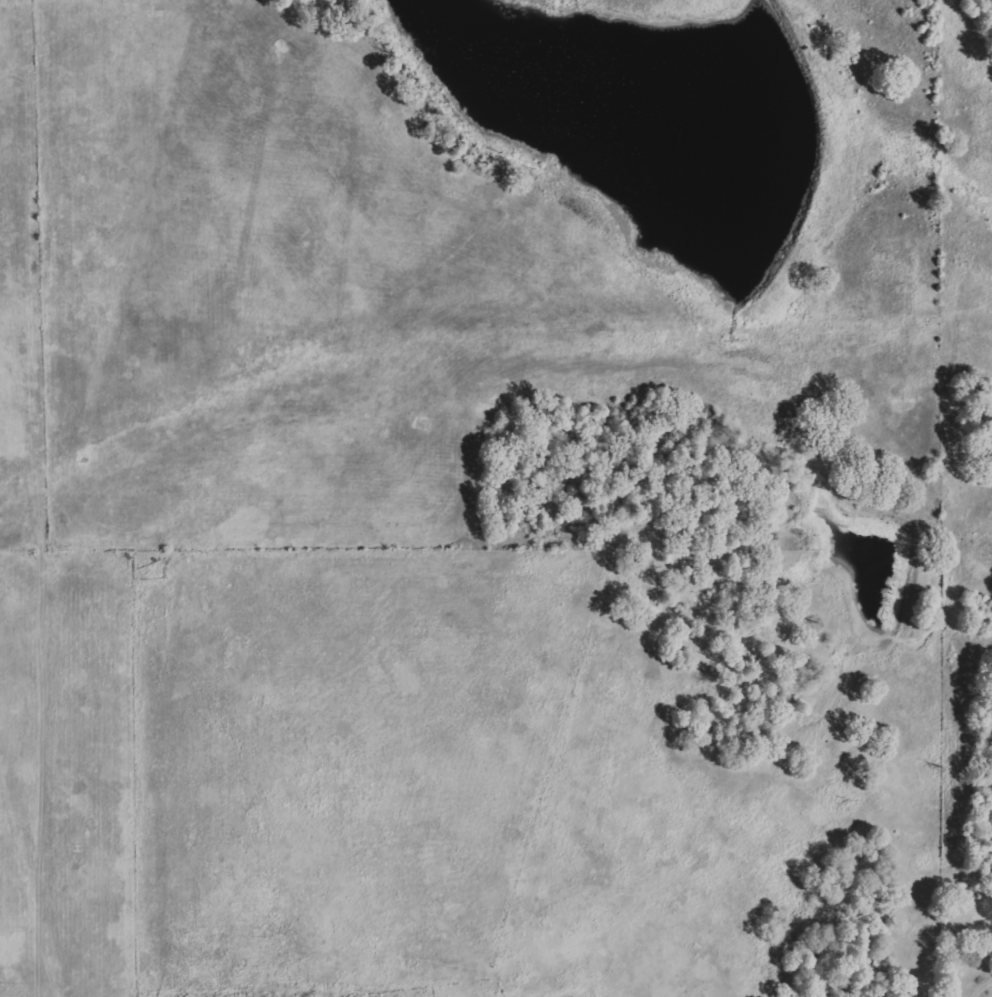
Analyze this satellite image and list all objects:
road: (983, 988)

